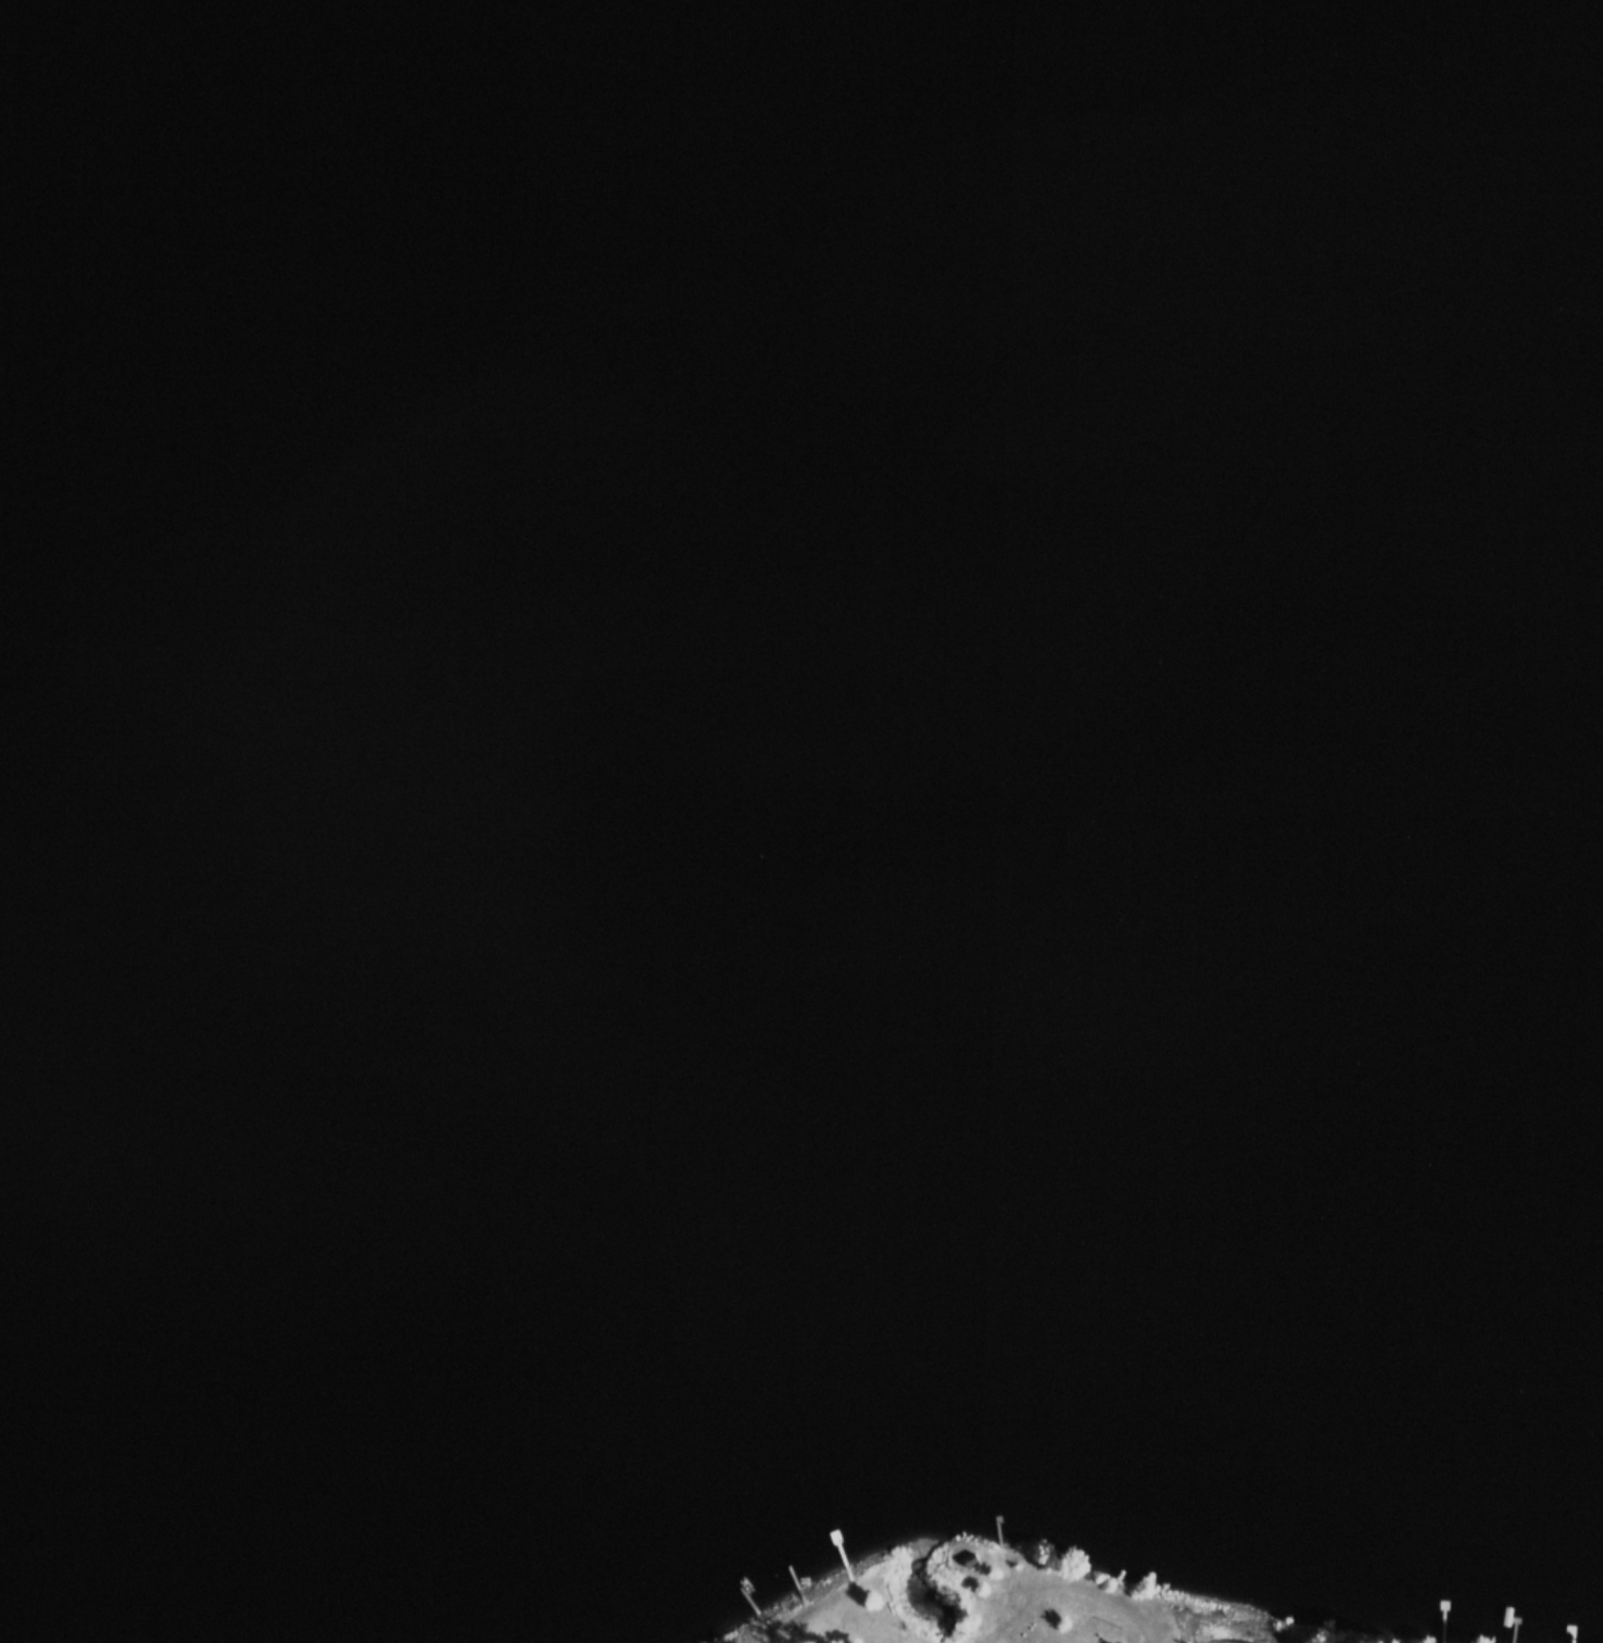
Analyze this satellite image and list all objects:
river: (1216, 614)
river: (408, 632)
river: (871, 1073)

